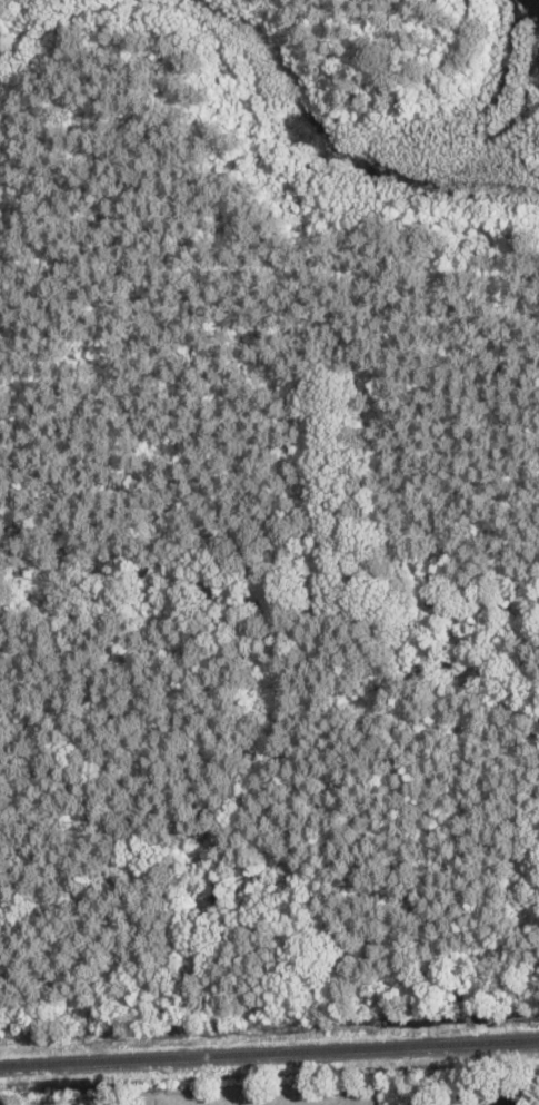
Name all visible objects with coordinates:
railway: (269, 1053)

